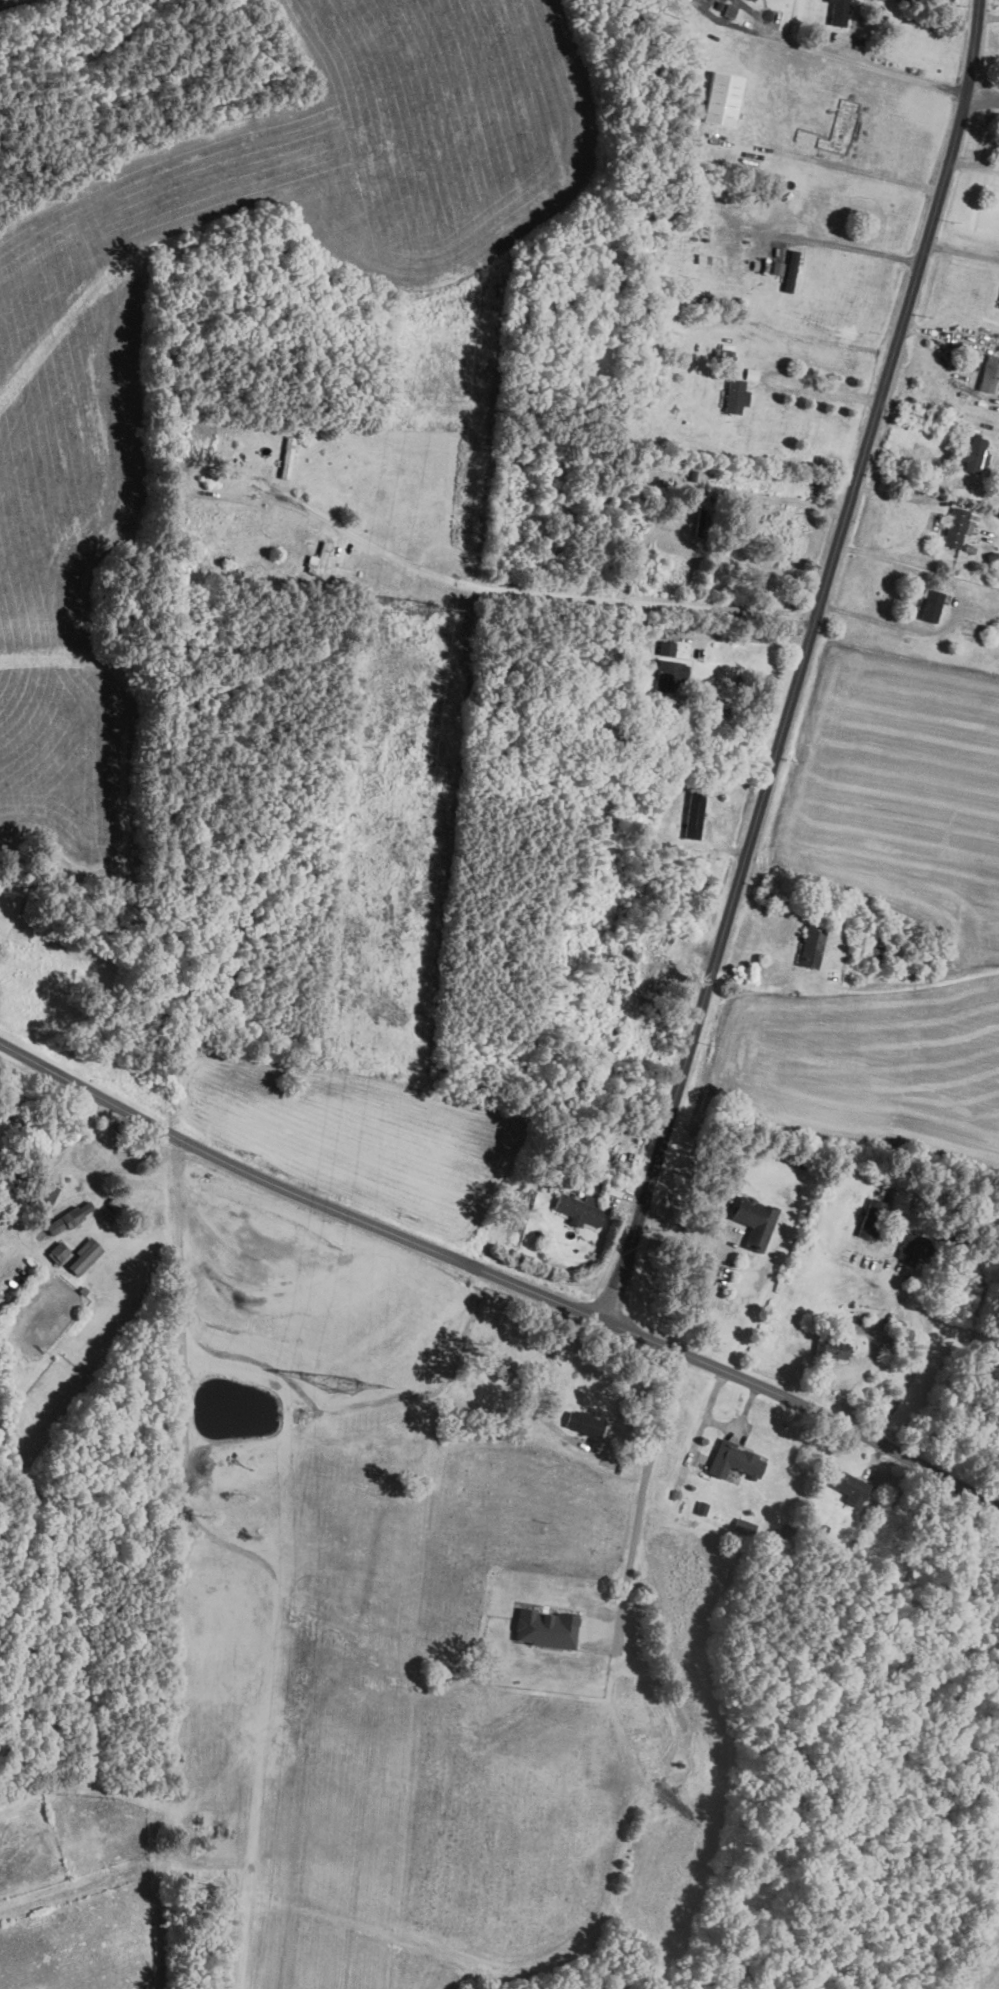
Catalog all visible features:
building: (754, 0)
building: (839, 12)
road: (725, 21)
road: (880, 66)
building: (722, 98)
road: (857, 250)
road: (963, 251)
building: (790, 269)
building: (989, 372)
road: (825, 391)
building: (735, 395)
building: (974, 454)
road: (910, 472)
road: (930, 522)
building: (956, 526)
road: (356, 536)
building: (318, 559)
road: (631, 601)
building: (931, 605)
power tower: (417, 607)
road: (890, 626)
building: (666, 647)
road: (805, 662)
building: (668, 674)
building: (694, 813)
building: (811, 945)
road: (825, 994)
building: (46, 1194)
building: (86, 1206)
building: (578, 1208)
building: (871, 1218)
building: (754, 1220)
building: (59, 1222)
building: (913, 1244)
building: (57, 1251)
building: (84, 1255)
road: (499, 1274)
building: (834, 1340)
road: (921, 1354)
power tower: (346, 1386)
building: (584, 1422)
building: (734, 1460)
building: (848, 1485)
road: (640, 1495)
building: (784, 1533)
building: (545, 1628)

